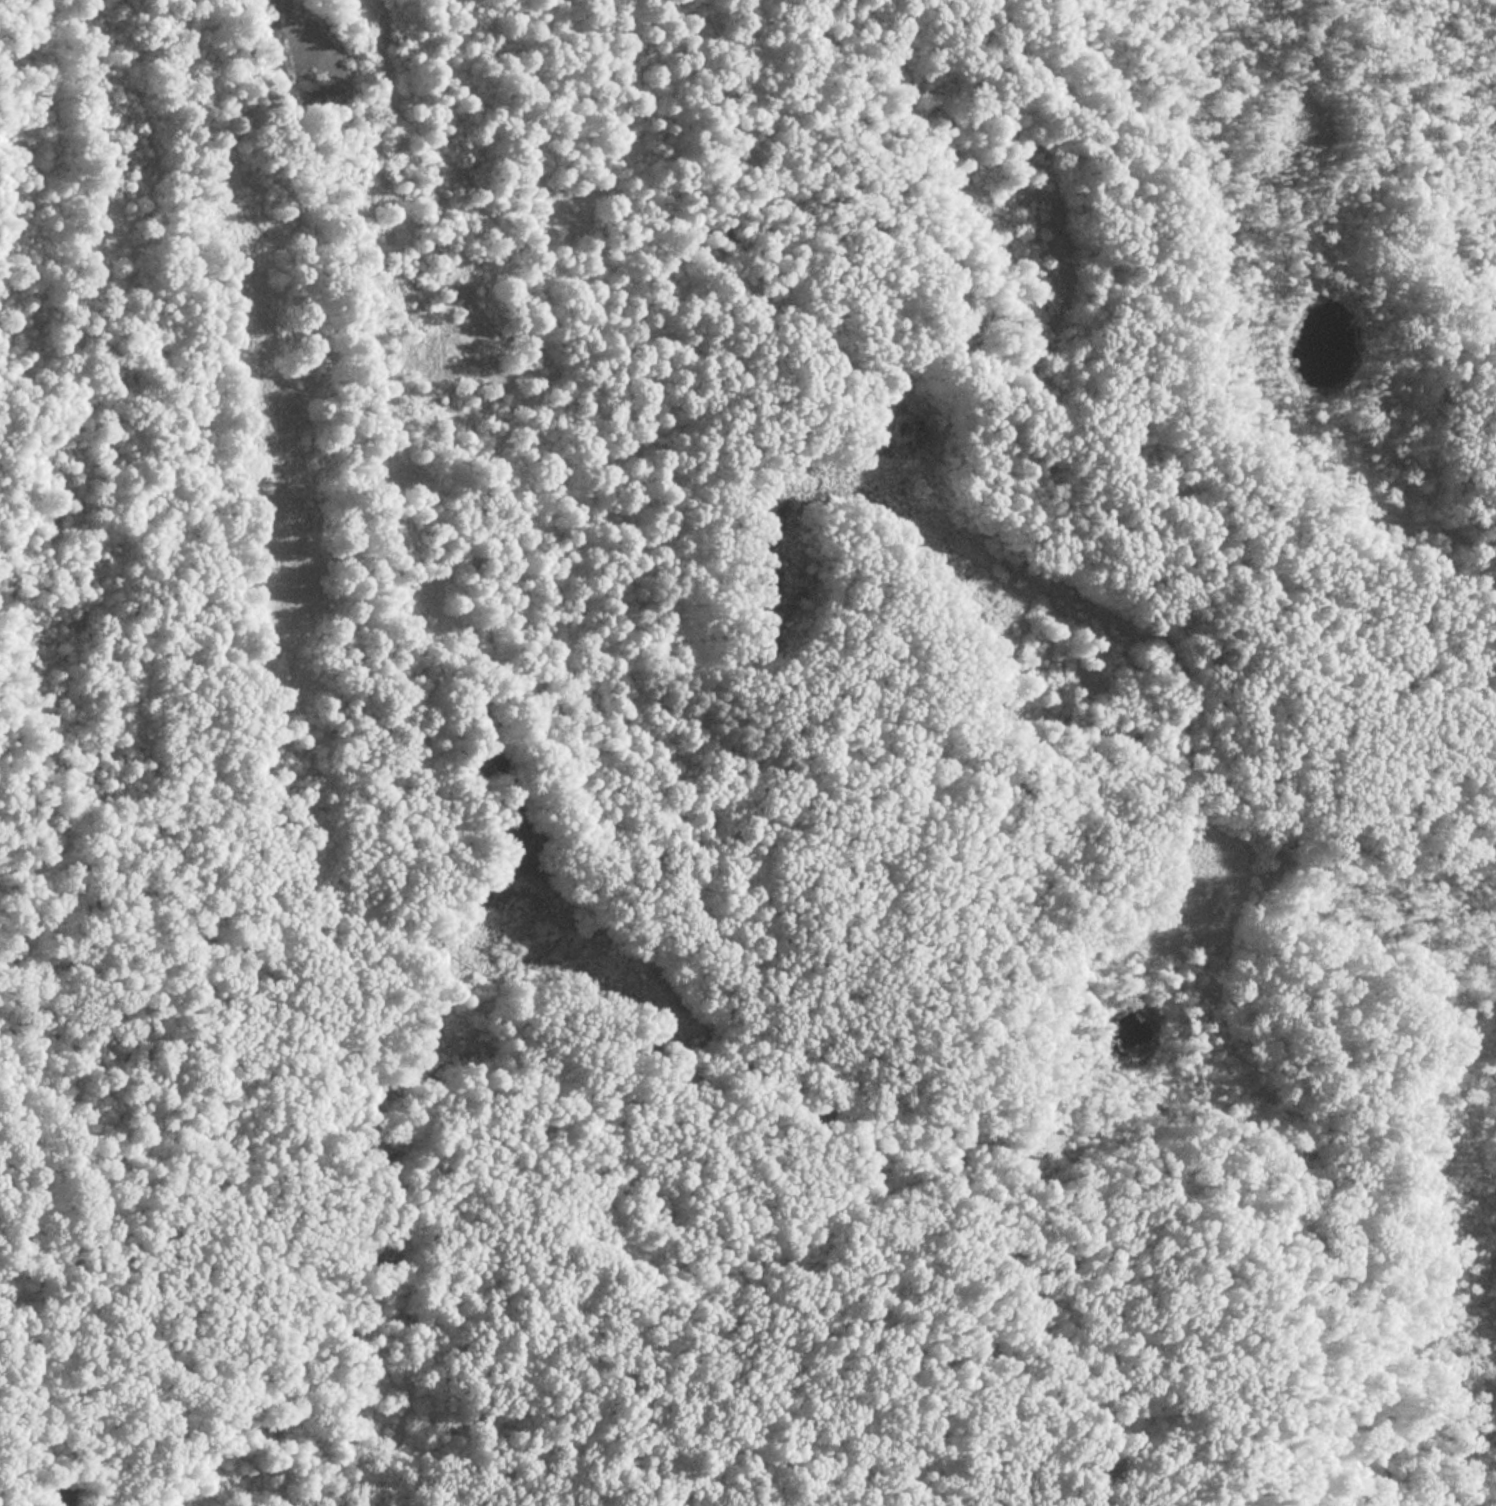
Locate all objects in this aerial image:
road: (722, 22)
road: (1280, 639)
park: (748, 753)

